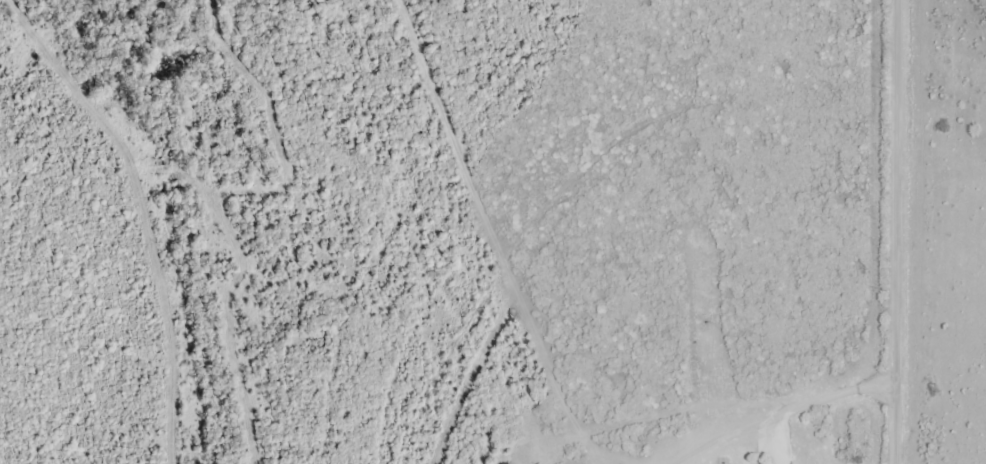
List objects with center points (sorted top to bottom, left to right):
road: (896, 232)

